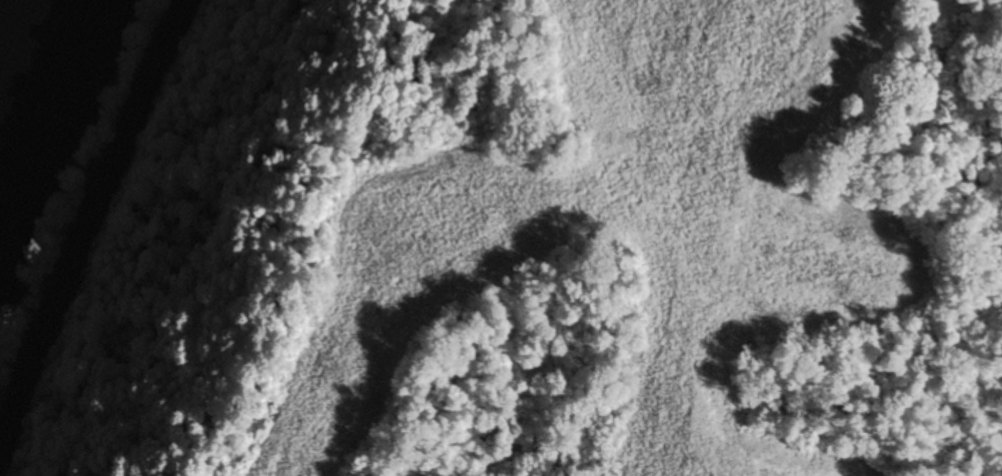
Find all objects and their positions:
building: (850, 121)
railway: (86, 205)
railway: (91, 224)

